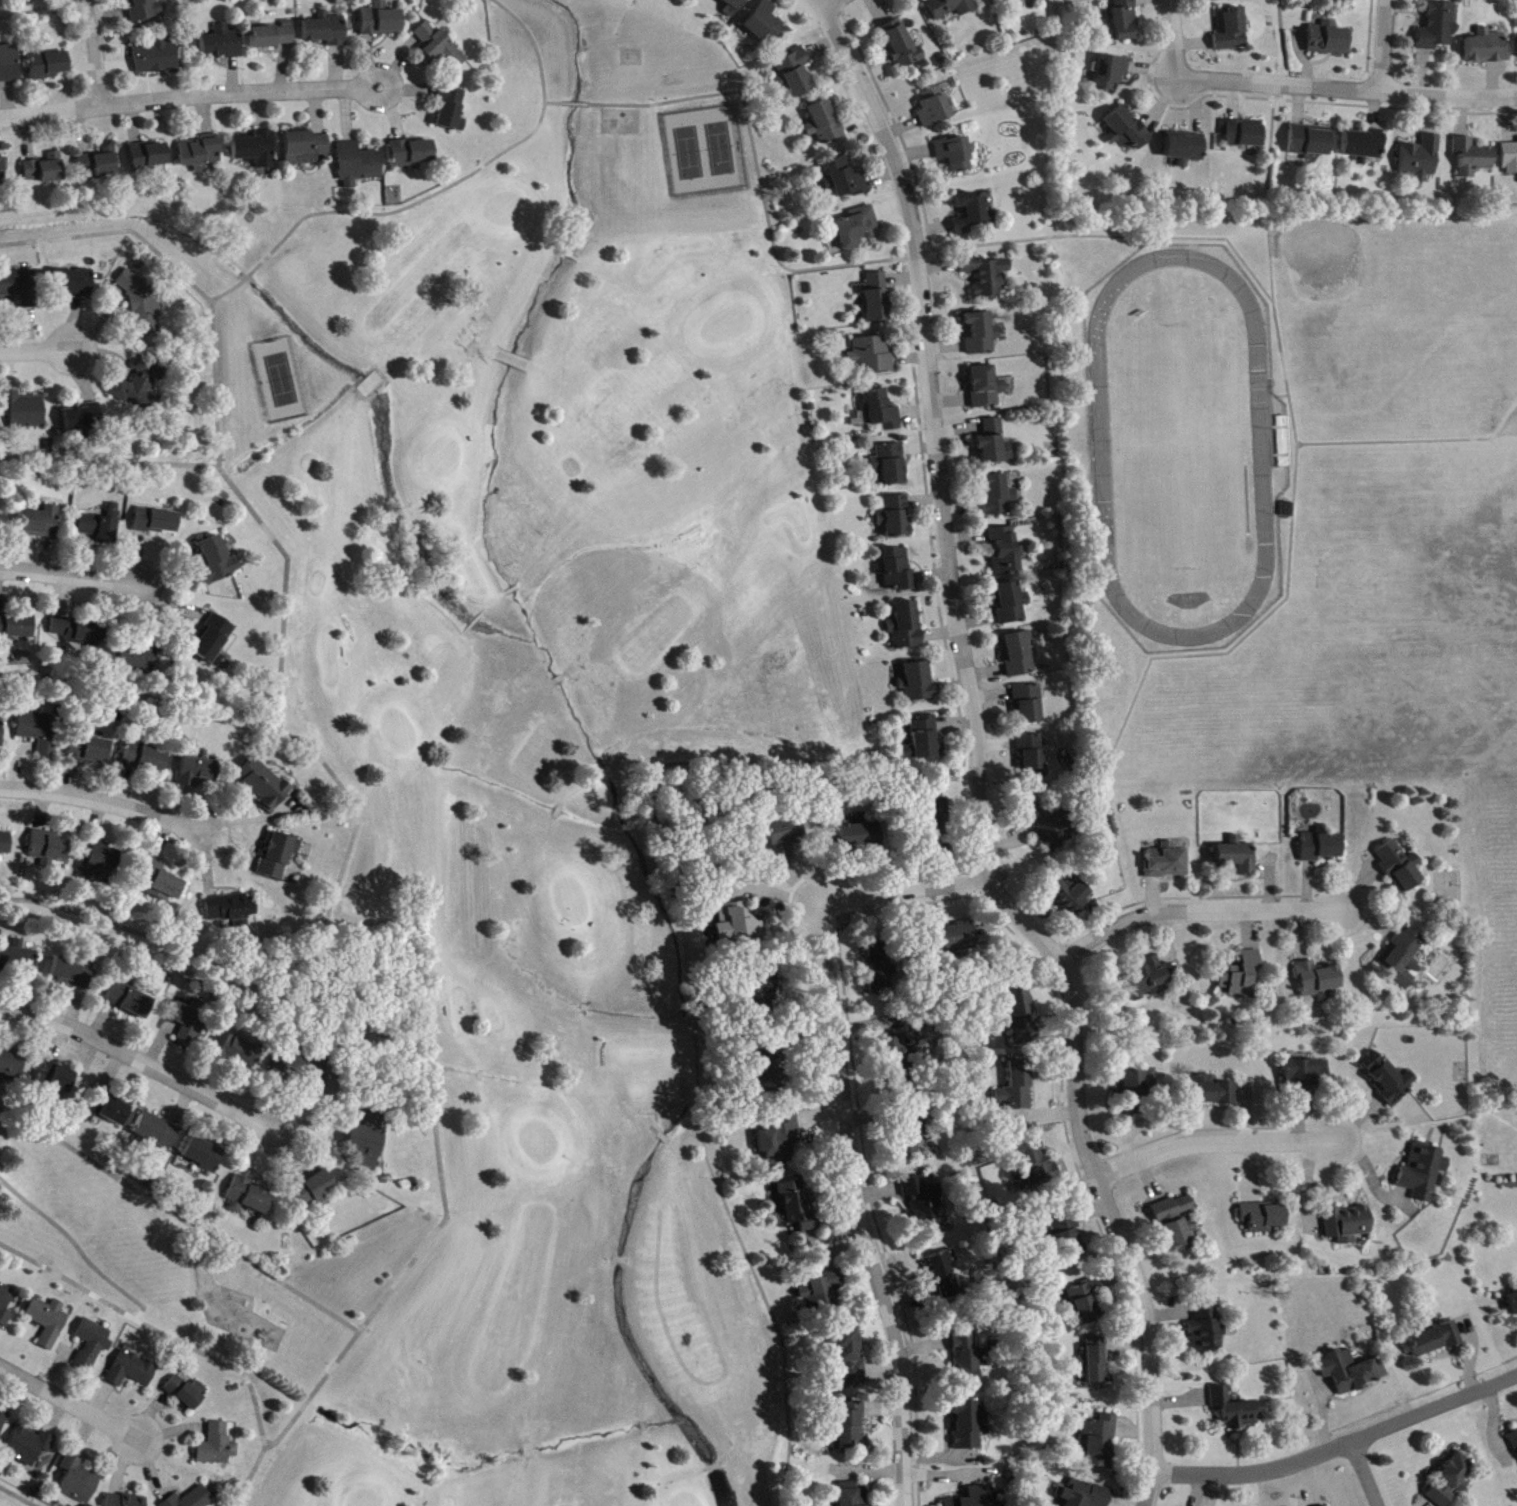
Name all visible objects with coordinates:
building: (1003, 0)
building: (31, 1)
building: (1219, 1)
building: (1337, 2)
road: (823, 4)
road: (833, 4)
building: (732, 7)
road: (32, 8)
building: (951, 8)
building: (146, 10)
building: (1124, 21)
building: (381, 22)
building: (765, 23)
building: (1438, 28)
building: (1231, 31)
building: (326, 33)
building: (275, 37)
road: (1170, 38)
building: (1330, 41)
road: (1281, 43)
building: (222, 45)
building: (901, 46)
road: (1385, 46)
building: (439, 48)
building: (1488, 49)
road: (93, 52)
building: (157, 57)
building: (10, 65)
building: (49, 66)
building: (795, 74)
building: (1111, 74)
road: (1345, 89)
road: (190, 96)
building: (934, 109)
building: (451, 110)
road: (892, 120)
building: (824, 124)
building: (1127, 132)
building: (1242, 135)
building: (1310, 142)
building: (1363, 147)
building: (306, 149)
building: (257, 151)
building: (1185, 151)
building: (201, 154)
building: (412, 155)
building: (956, 155)
building: (149, 157)
building: (1473, 159)
building: (1421, 160)
building: (1510, 160)
building: (99, 164)
building: (359, 166)
building: (45, 170)
building: (5, 172)
building: (846, 180)
road: (441, 194)
building: (970, 214)
building: (857, 228)
road: (856, 261)
building: (986, 278)
building: (74, 283)
park: (1363, 283)
building: (21, 290)
building: (876, 299)
building: (145, 305)
building: (981, 335)
road: (37, 350)
building: (870, 356)
building: (142, 386)
building: (986, 389)
road: (221, 406)
building: (878, 412)
building: (26, 413)
road: (1503, 417)
building: (84, 419)
road: (1406, 439)
building: (994, 445)
road: (112, 461)
building: (889, 465)
building: (996, 497)
building: (894, 518)
building: (158, 522)
building: (43, 524)
building: (100, 530)
building: (1004, 551)
building: (218, 562)
building: (896, 571)
road: (73, 575)
building: (1009, 604)
park: (1399, 620)
building: (17, 627)
building: (904, 627)
building: (79, 631)
building: (214, 642)
building: (1017, 655)
building: (137, 659)
building: (916, 684)
building: (1028, 706)
building: (2, 732)
building: (41, 733)
road: (289, 733)
building: (923, 741)
building: (90, 752)
building: (1030, 753)
building: (144, 758)
road: (980, 769)
road: (903, 770)
building: (198, 771)
building: (263, 785)
road: (105, 800)
building: (936, 816)
park: (553, 817)
building: (1048, 826)
building: (859, 835)
building: (782, 839)
building: (5, 845)
building: (1321, 847)
building: (48, 849)
building: (279, 857)
building: (101, 859)
building: (1238, 859)
building: (1169, 863)
building: (1400, 868)
building: (160, 883)
road: (905, 890)
building: (1071, 896)
building: (232, 909)
road: (1199, 911)
building: (738, 924)
building: (954, 939)
building: (1402, 959)
building: (18, 962)
building: (877, 967)
building: (1240, 974)
building: (73, 975)
building: (1150, 979)
building: (1318, 982)
building: (762, 990)
building: (129, 999)
building: (1021, 1016)
building: (185, 1024)
building: (235, 1051)
building: (895, 1059)
road: (141, 1062)
building: (15, 1067)
building: (769, 1074)
building: (1307, 1075)
building: (56, 1078)
building: (1387, 1078)
road: (427, 1088)
building: (1016, 1090)
building: (1134, 1092)
building: (1210, 1093)
building: (107, 1110)
building: (156, 1132)
building: (909, 1140)
road: (1216, 1140)
building: (368, 1141)
building: (779, 1141)
road: (2, 1156)
building: (203, 1156)
building: (1033, 1166)
building: (1424, 1173)
building: (313, 1190)
building: (248, 1199)
road: (858, 1205)
building: (924, 1206)
building: (797, 1207)
building: (1174, 1210)
road: (181, 1218)
building: (1264, 1219)
building: (1348, 1225)
building: (1180, 1236)
building: (1070, 1245)
road: (76, 1247)
park: (165, 1273)
building: (943, 1276)
building: (820, 1289)
building: (1085, 1303)
building: (1513, 1305)
building: (6, 1306)
building: (48, 1322)
road: (154, 1326)
building: (1206, 1329)
building: (1437, 1341)
building: (92, 1345)
building: (848, 1360)
building: (966, 1362)
building: (1097, 1364)
building: (132, 1372)
building: (1352, 1373)
building: (187, 1394)
road: (70, 1401)
building: (1236, 1411)
building: (3, 1422)
building: (968, 1426)
building: (851, 1431)
building: (1514, 1442)
building: (1099, 1443)
road: (1341, 1446)
building: (29, 1447)
building: (218, 1447)
road: (1365, 1474)
building: (78, 1482)
building: (1452, 1482)
building: (851, 1495)
road: (17, 1496)
building: (1087, 1496)
building: (976, 1498)
building: (193, 1499)
building: (124, 1501)

